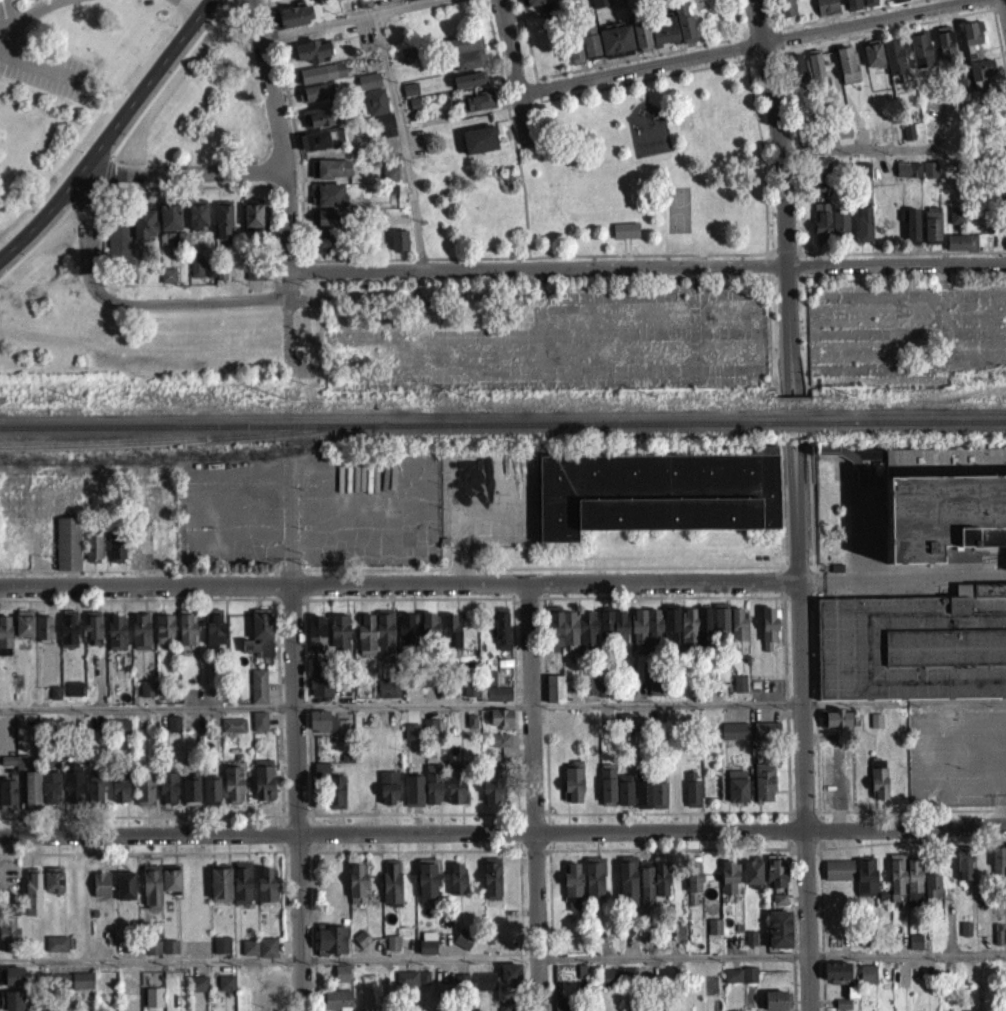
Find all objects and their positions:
building: (273, 0)
building: (578, 0)
road: (226, 1)
building: (415, 3)
building: (898, 4)
building: (537, 5)
building: (599, 6)
building: (868, 6)
road: (187, 8)
building: (852, 8)
road: (1003, 8)
building: (826, 9)
building: (785, 11)
road: (25, 13)
building: (295, 15)
road: (268, 17)
road: (855, 18)
road: (771, 19)
road: (364, 21)
road: (752, 25)
road: (877, 25)
building: (683, 29)
road: (756, 37)
building: (663, 38)
road: (273, 40)
building: (640, 40)
road: (741, 41)
building: (466, 43)
road: (525, 44)
road: (738, 44)
building: (615, 46)
building: (589, 48)
building: (945, 50)
road: (740, 52)
building: (409, 53)
building: (920, 57)
building: (472, 58)
building: (574, 58)
building: (312, 59)
road: (656, 59)
building: (408, 62)
building: (872, 62)
road: (742, 63)
building: (976, 63)
road: (41, 64)
building: (893, 64)
building: (847, 71)
building: (322, 72)
building: (814, 73)
parking lot: (43, 74)
road: (637, 75)
road: (511, 76)
building: (797, 76)
road: (497, 77)
building: (470, 79)
road: (168, 80)
building: (322, 80)
building: (370, 80)
park: (65, 84)
building: (469, 86)
building: (368, 88)
building: (410, 88)
building: (316, 91)
road: (535, 95)
road: (643, 95)
building: (409, 96)
building: (313, 99)
building: (476, 100)
building: (414, 101)
road: (977, 104)
building: (475, 109)
building: (326, 114)
building: (315, 124)
building: (383, 129)
road: (110, 135)
building: (321, 139)
building: (836, 139)
building: (1005, 144)
building: (477, 145)
road: (399, 146)
road: (876, 147)
building: (314, 148)
building: (332, 167)
building: (391, 170)
park: (617, 174)
road: (105, 175)
building: (908, 176)
building: (863, 177)
building: (929, 177)
building: (819, 178)
road: (181, 179)
building: (389, 179)
road: (283, 188)
building: (392, 188)
road: (102, 191)
road: (279, 192)
road: (187, 193)
building: (330, 193)
road: (97, 194)
road: (93, 195)
road: (81, 202)
road: (781, 204)
building: (1005, 206)
road: (522, 208)
road: (299, 210)
building: (199, 213)
building: (255, 213)
building: (173, 214)
park: (676, 215)
building: (225, 218)
building: (328, 218)
building: (147, 221)
building: (956, 223)
road: (763, 224)
building: (821, 229)
road: (85, 231)
building: (839, 231)
building: (863, 231)
building: (931, 232)
building: (911, 233)
building: (1004, 234)
building: (120, 235)
building: (624, 236)
building: (184, 237)
building: (402, 238)
building: (382, 239)
road: (97, 242)
road: (271, 242)
building: (327, 242)
building: (1005, 245)
road: (36, 247)
building: (398, 248)
building: (961, 250)
road: (624, 252)
road: (766, 260)
road: (274, 264)
road: (286, 265)
road: (418, 265)
building: (197, 266)
road: (299, 266)
building: (211, 269)
building: (254, 269)
road: (786, 270)
building: (223, 271)
road: (765, 272)
building: (169, 274)
building: (195, 274)
road: (425, 275)
building: (209, 277)
building: (167, 282)
road: (700, 284)
road: (98, 289)
road: (94, 292)
road: (272, 299)
road: (183, 307)
road: (766, 340)
railway: (916, 420)
railway: (799, 421)
railway: (385, 423)
road: (797, 425)
road: (783, 426)
railway: (186, 438)
building: (657, 491)
building: (939, 513)
building: (67, 551)
building: (139, 552)
building: (92, 554)
building: (116, 556)
road: (266, 568)
road: (398, 581)
road: (410, 596)
road: (138, 597)
road: (291, 601)
building: (720, 623)
building: (23, 631)
building: (670, 631)
building: (429, 632)
building: (613, 633)
building: (688, 633)
building: (43, 634)
building: (92, 634)
building: (186, 634)
building: (645, 634)
building: (163, 635)
building: (559, 635)
building: (68, 636)
building: (501, 636)
building: (587, 636)
building: (768, 636)
building: (214, 637)
building: (315, 638)
building: (406, 638)
building: (451, 638)
road: (814, 638)
building: (116, 639)
building: (140, 639)
building: (384, 639)
building: (738, 639)
building: (259, 642)
building: (339, 642)
building: (366, 642)
building: (5, 643)
building: (911, 645)
building: (490, 685)
building: (319, 690)
building: (739, 691)
building: (258, 693)
building: (588, 693)
building: (146, 695)
building: (73, 696)
building: (387, 696)
building: (470, 696)
building: (554, 696)
building: (604, 696)
building: (654, 696)
building: (54, 699)
building: (496, 701)
road: (252, 706)
road: (310, 715)
building: (835, 725)
building: (122, 726)
building: (501, 726)
building: (259, 728)
building: (327, 730)
building: (173, 731)
building: (430, 731)
building: (233, 732)
building: (119, 734)
building: (764, 737)
building: (734, 738)
building: (500, 747)
road: (802, 750)
parking lot: (915, 753)
building: (9, 759)
building: (24, 760)
building: (13, 768)
building: (319, 776)
building: (76, 780)
building: (122, 784)
building: (52, 785)
building: (878, 786)
building: (96, 787)
building: (263, 787)
building: (34, 788)
building: (572, 788)
building: (146, 789)
building: (763, 789)
building: (606, 790)
building: (233, 791)
building: (432, 791)
building: (9, 793)
building: (736, 793)
building: (455, 794)
building: (168, 795)
building: (387, 795)
road: (533, 795)
road: (296, 796)
building: (493, 796)
building: (624, 797)
building: (692, 797)
building: (190, 799)
building: (210, 799)
building: (335, 799)
building: (642, 801)
building: (658, 802)
road: (282, 804)
road: (259, 814)
road: (503, 831)
road: (260, 850)
building: (998, 868)
building: (963, 872)
building: (172, 876)
building: (55, 877)
building: (838, 877)
building: (775, 878)
building: (1005, 878)
building: (751, 879)
building: (244, 881)
building: (222, 882)
building: (103, 883)
building: (865, 883)
building: (913, 883)
building: (594, 884)
building: (128, 885)
building: (153, 885)
building: (492, 885)
building: (729, 885)
building: (895, 885)
building: (269, 886)
building: (456, 886)
building: (660, 886)
building: (693, 886)
building: (627, 888)
building: (427, 889)
building: (391, 890)
building: (357, 891)
building: (572, 893)
building: (932, 893)
building: (32, 899)
building: (779, 906)
road: (315, 930)
building: (10, 932)
building: (714, 933)
building: (778, 936)
building: (965, 936)
building: (59, 942)
building: (224, 943)
building: (172, 944)
building: (997, 944)
building: (155, 945)
building: (270, 945)
building: (252, 946)
building: (361, 946)
building: (330, 947)
building: (463, 947)
building: (914, 948)
building: (392, 950)
building: (56, 951)
building: (221, 952)
building: (169, 953)
building: (267, 954)
building: (426, 954)
road: (908, 954)
building: (249, 955)
road: (672, 956)
road: (267, 960)
building: (343, 972)
building: (13, 975)
building: (426, 977)
building: (836, 978)
building: (84, 979)
building: (60, 980)
building: (487, 980)
building: (509, 980)
building: (341, 981)
building: (867, 981)
building: (200, 982)
building: (739, 982)
building: (11, 984)
building: (612, 984)
building: (406, 986)
building: (70, 988)
building: (460, 988)
building: (485, 988)
building: (197, 990)
building: (225, 990)
building: (156, 996)
building: (338, 999)
building: (13, 1000)
building: (774, 1004)
building: (505, 1007)
building: (562, 1008)

